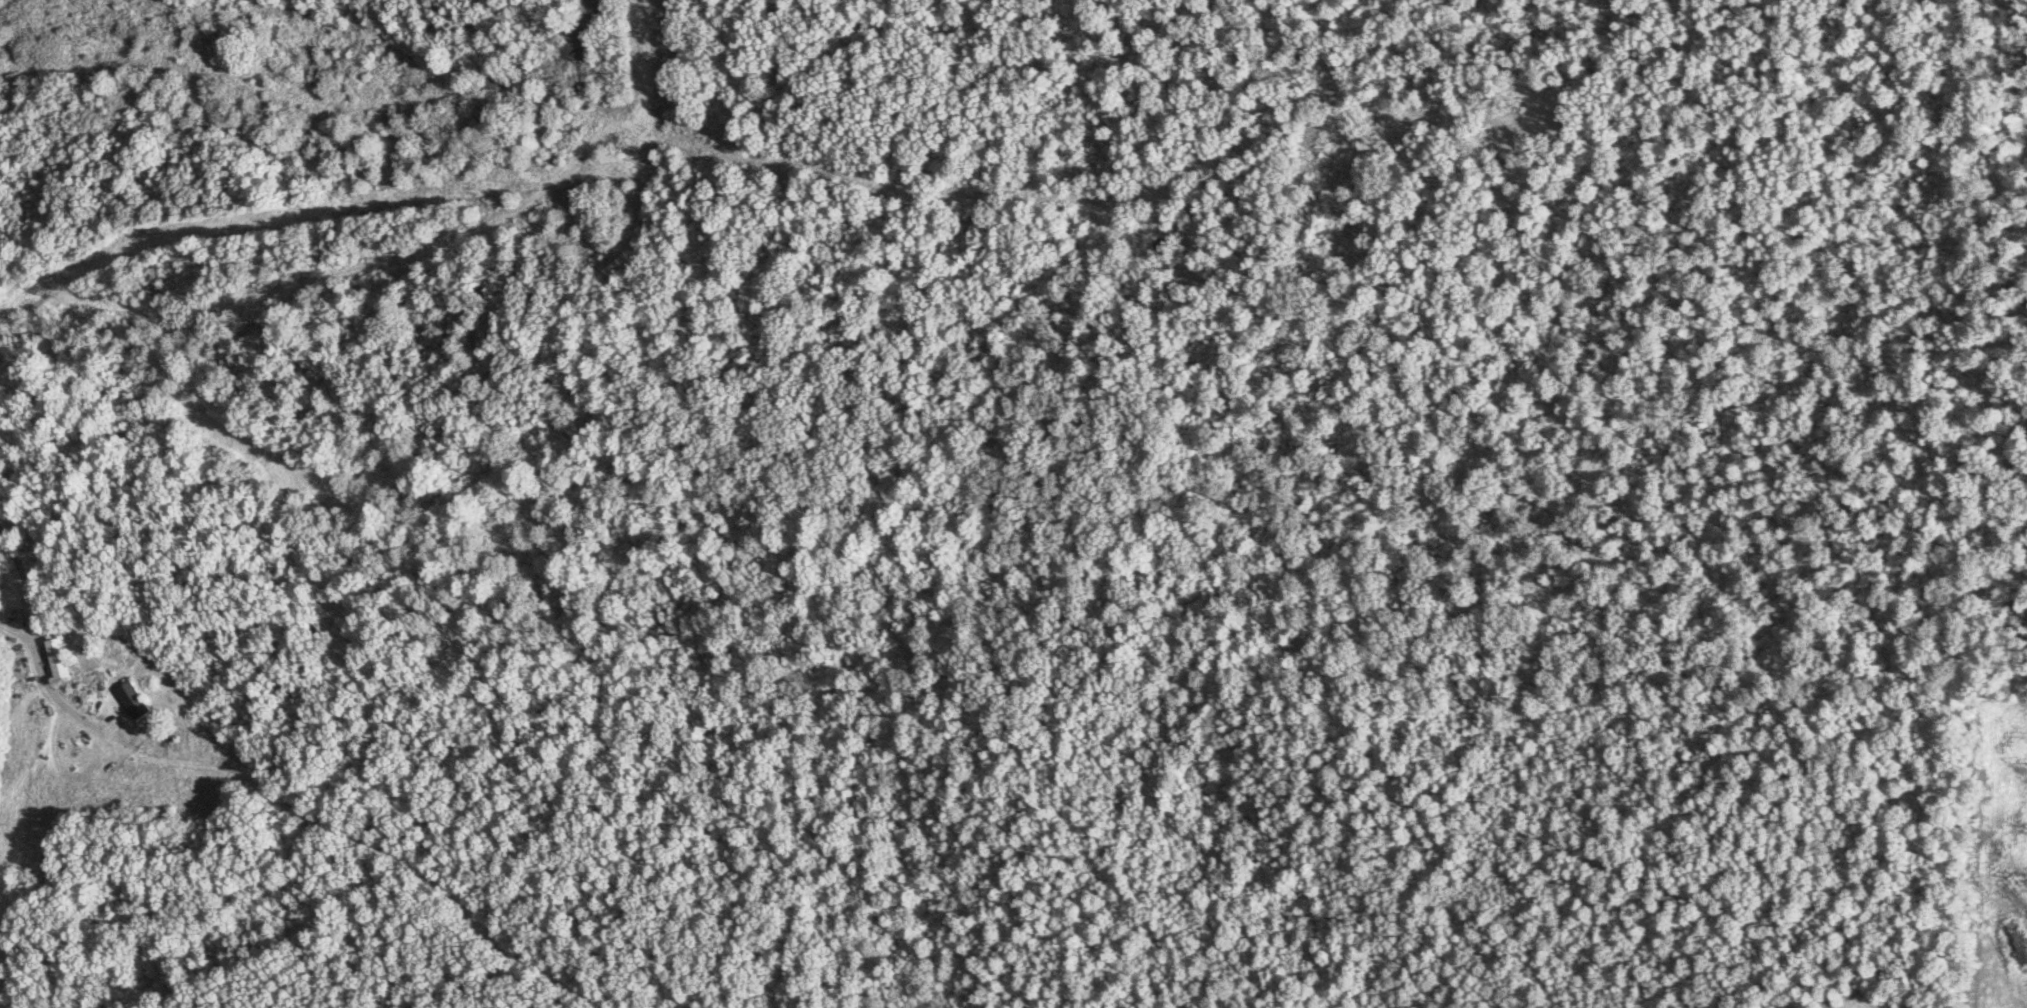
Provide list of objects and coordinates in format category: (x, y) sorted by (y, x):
road: (255, 90)
building: (10, 500)
road: (26, 591)
building: (60, 660)
road: (54, 695)
building: (136, 702)

